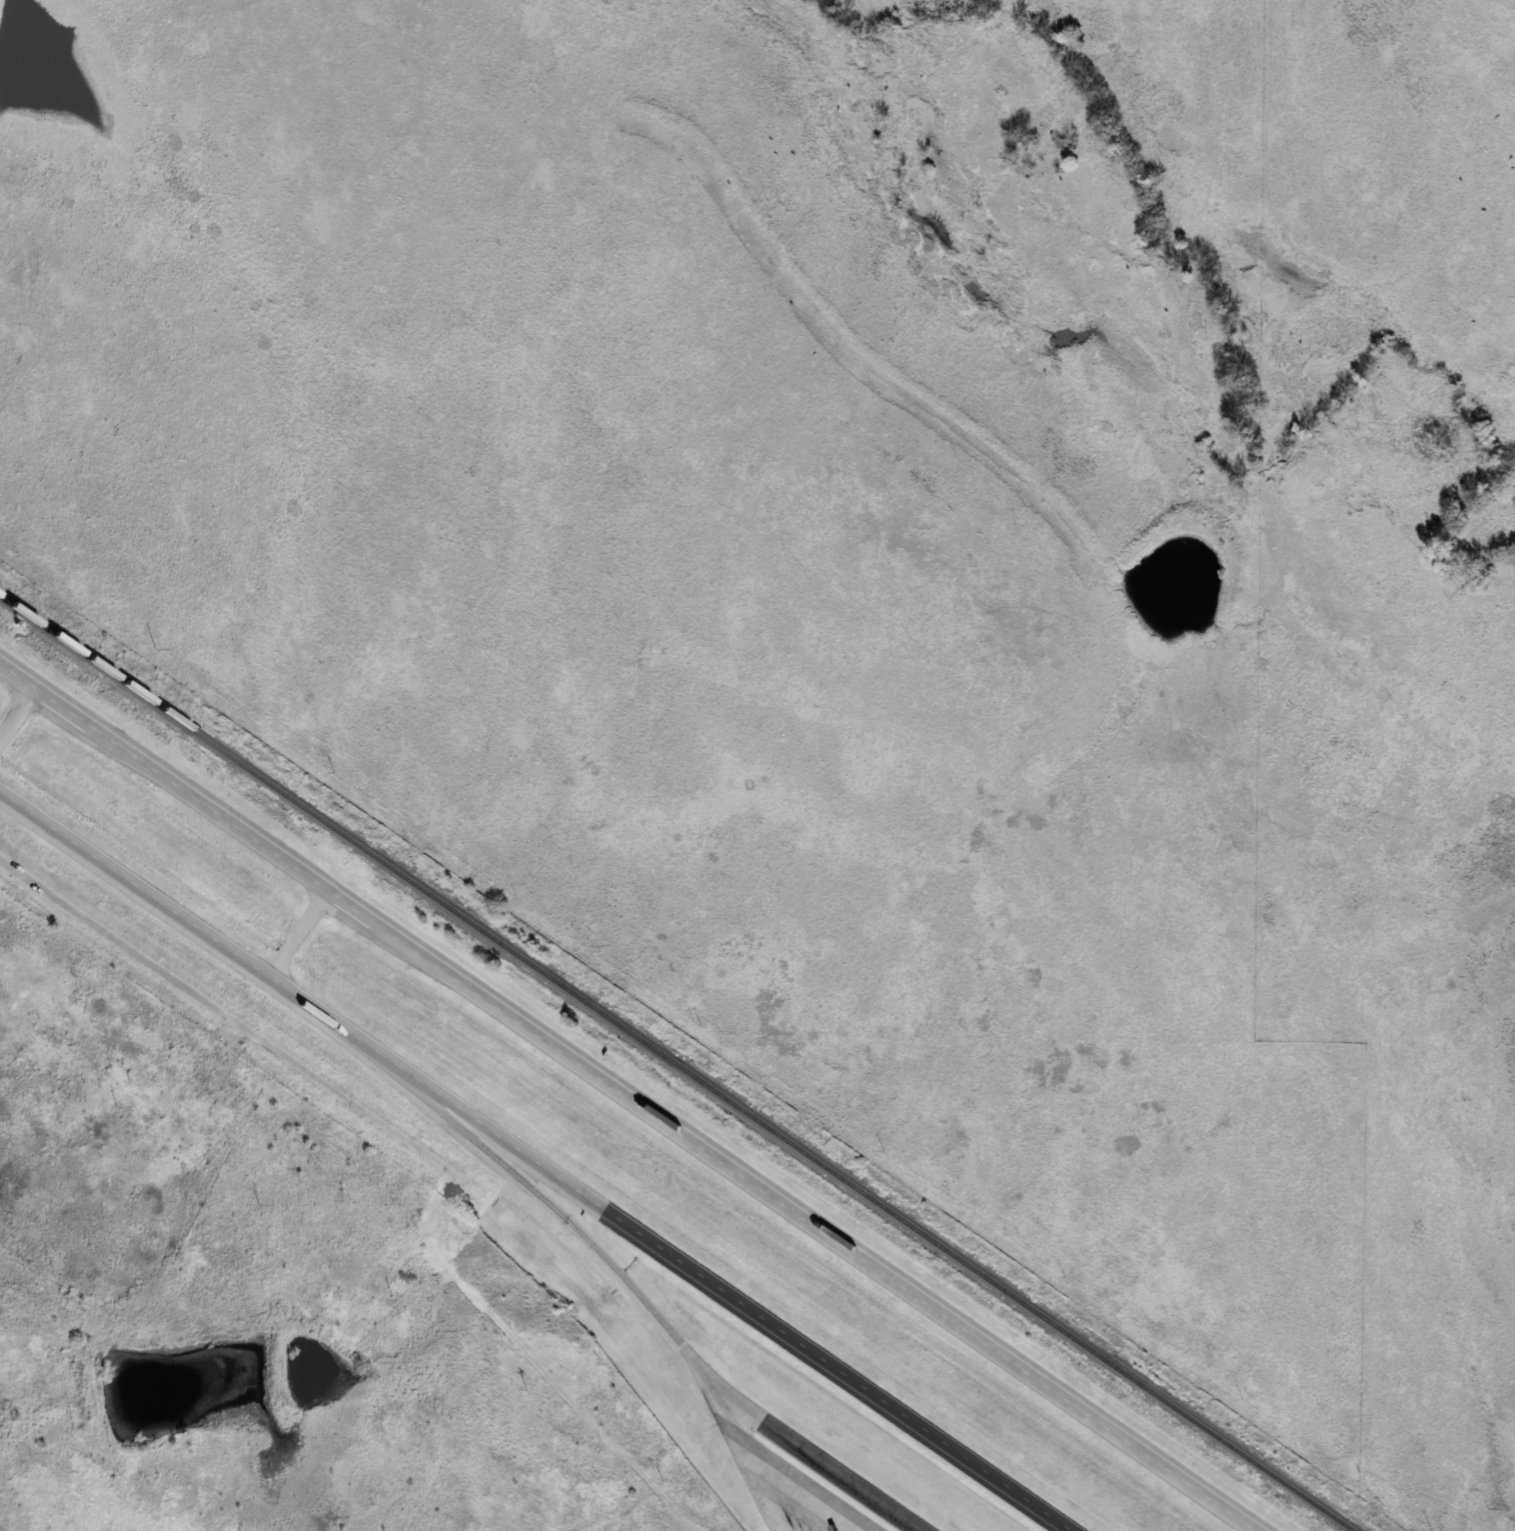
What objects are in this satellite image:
road: (20, 668)
road: (20, 713)
road: (298, 931)
road: (225, 1017)
railway: (675, 1064)
road: (653, 1106)
road: (539, 1161)
road: (552, 1208)
road: (739, 1456)
road: (813, 1456)
parking lot: (830, 1479)
road: (800, 1481)
parking lot: (799, 1506)

